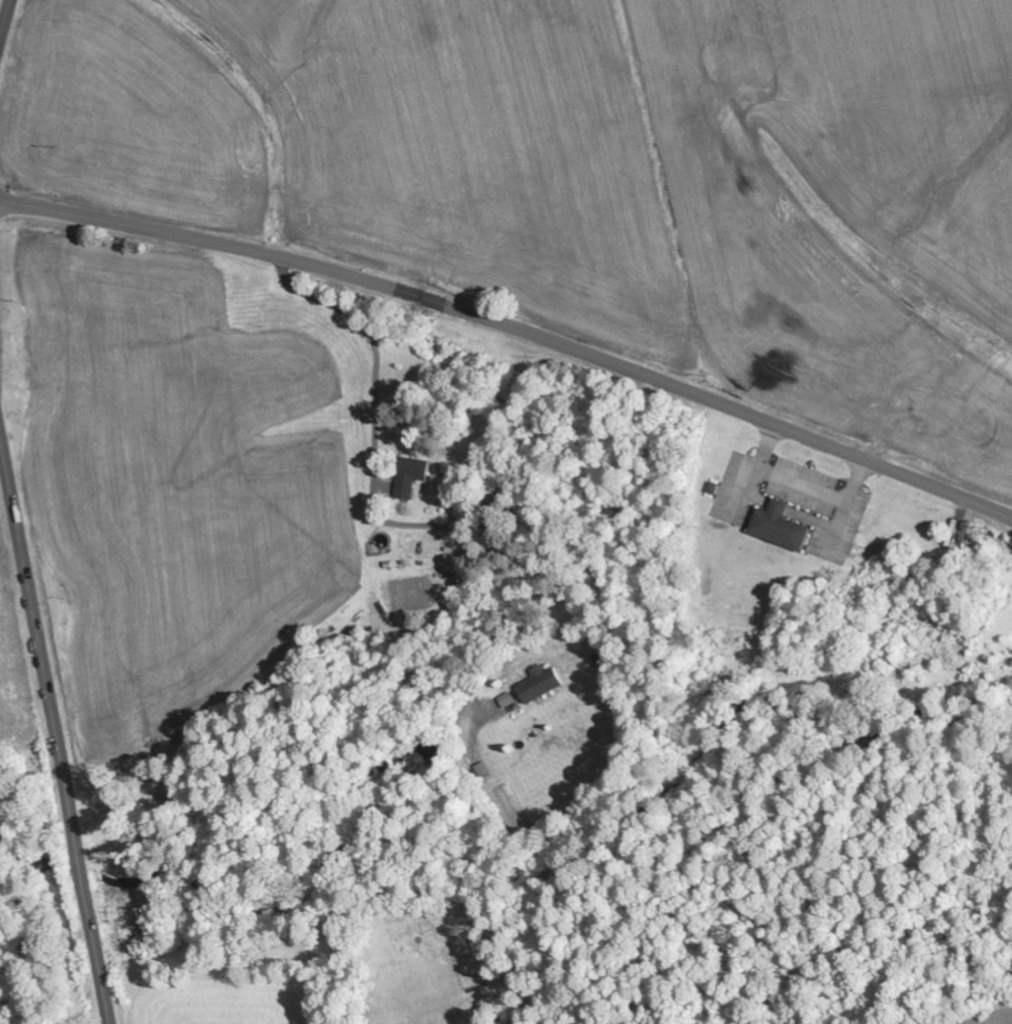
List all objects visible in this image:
road: (6, 21)
road: (514, 328)
road: (1, 439)
building: (411, 477)
building: (780, 528)
building: (539, 685)
building: (506, 701)
road: (56, 727)
building: (483, 771)

